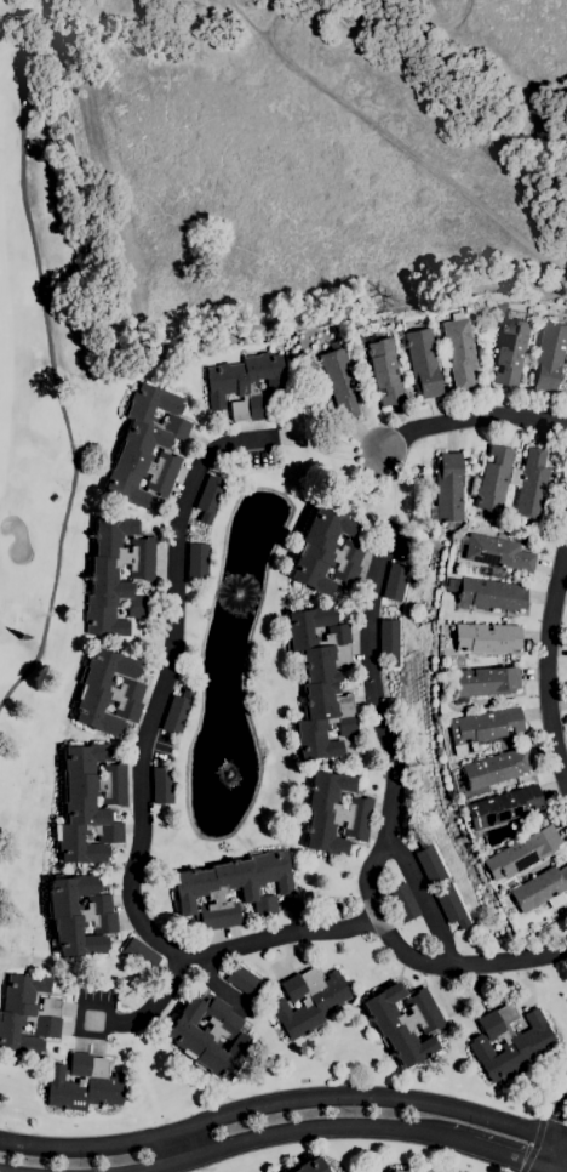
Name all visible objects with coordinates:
building: (459, 352)
building: (511, 352)
building: (549, 357)
building: (423, 359)
building: (385, 371)
building: (338, 380)
building: (246, 386)
park: (45, 411)
road: (479, 420)
building: (147, 446)
building: (492, 480)
building: (529, 483)
building: (448, 489)
building: (208, 497)
building: (326, 552)
building: (497, 552)
building: (196, 561)
building: (101, 578)
building: (395, 581)
building: (488, 593)
building: (485, 637)
building: (389, 643)
road: (556, 666)
road: (170, 681)
building: (320, 681)
building: (480, 682)
building: (108, 693)
building: (176, 711)
building: (482, 728)
building: (494, 772)
building: (161, 785)
building: (459, 797)
building: (90, 803)
building: (503, 808)
building: (333, 814)
road: (384, 831)
building: (521, 853)
building: (428, 859)
building: (540, 888)
building: (200, 891)
road: (423, 897)
building: (402, 901)
building: (451, 905)
building: (79, 915)
road: (220, 949)
building: (142, 956)
building: (245, 982)
building: (308, 1001)
building: (27, 1014)
building: (402, 1023)
building: (210, 1035)
building: (509, 1041)
building: (84, 1083)
road: (283, 1102)
road: (550, 1125)
road: (298, 1130)
road: (178, 1147)
road: (505, 1156)
road: (565, 1165)
building: (308, 1166)
building: (279, 1171)
building: (394, 1171)

